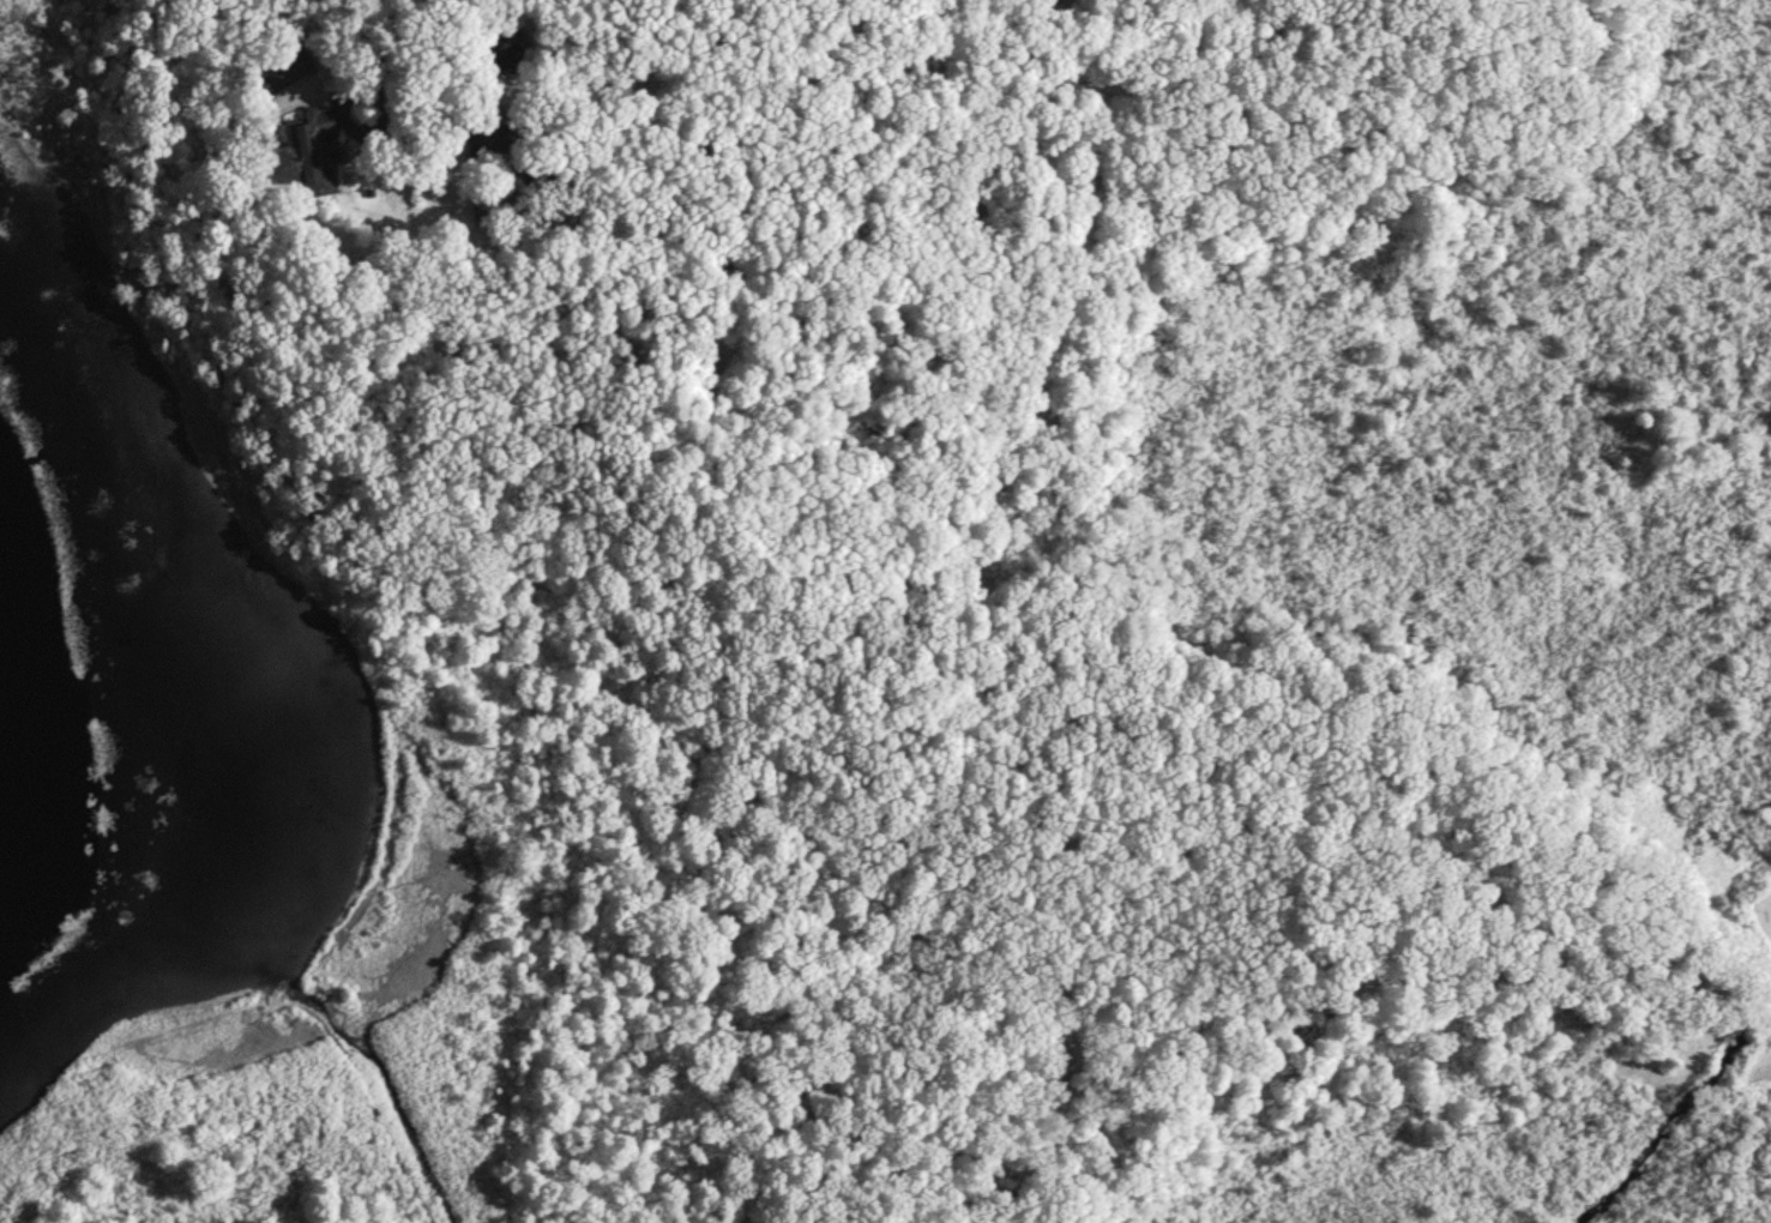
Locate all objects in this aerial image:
building: (499, 48)
building: (283, 68)
building: (486, 138)
building: (306, 152)

